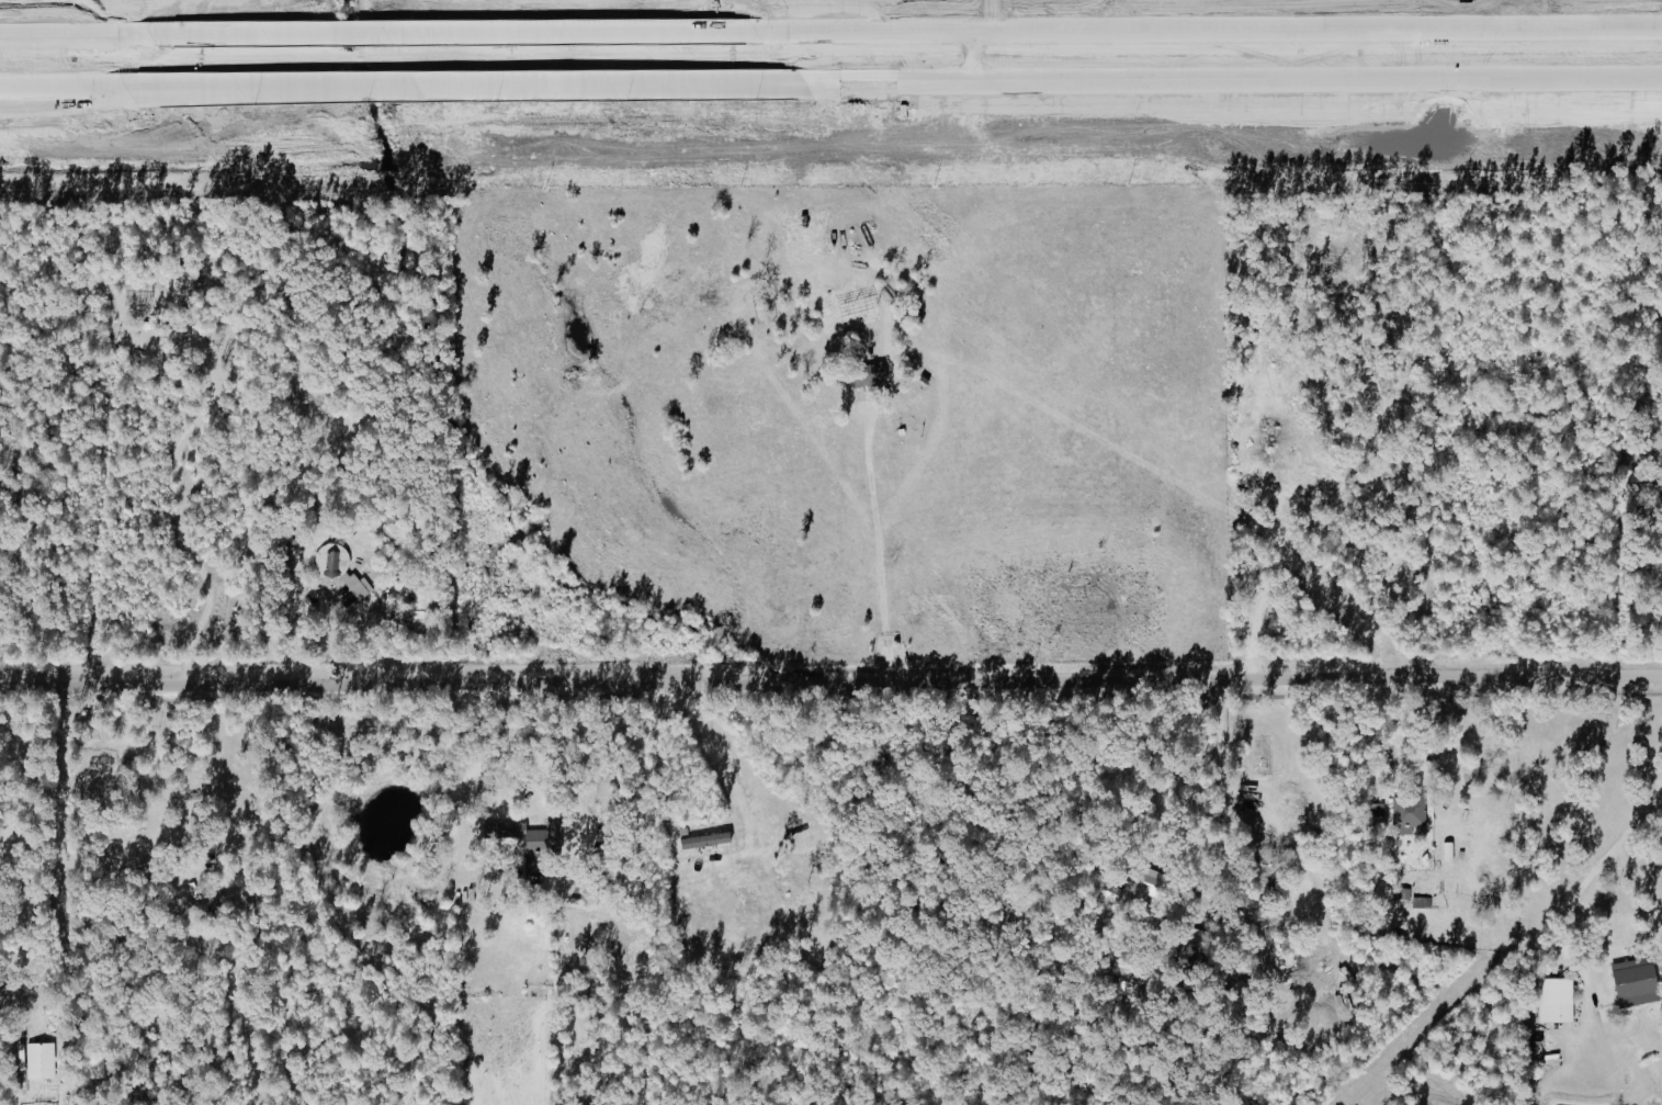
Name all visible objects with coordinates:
road: (50, 30)
road: (1202, 31)
road: (64, 34)
road: (436, 34)
road: (1229, 82)
road: (460, 87)
road: (61, 88)
road: (189, 91)
road: (64, 100)
building: (863, 376)
road: (873, 534)
building: (338, 570)
road: (830, 685)
road: (533, 751)
road: (722, 768)
building: (1373, 810)
building: (1405, 814)
road: (1630, 824)
building: (491, 831)
building: (527, 841)
building: (701, 841)
building: (1134, 886)
road: (1614, 944)
building: (1631, 982)
building: (1552, 1000)
building: (38, 1061)

